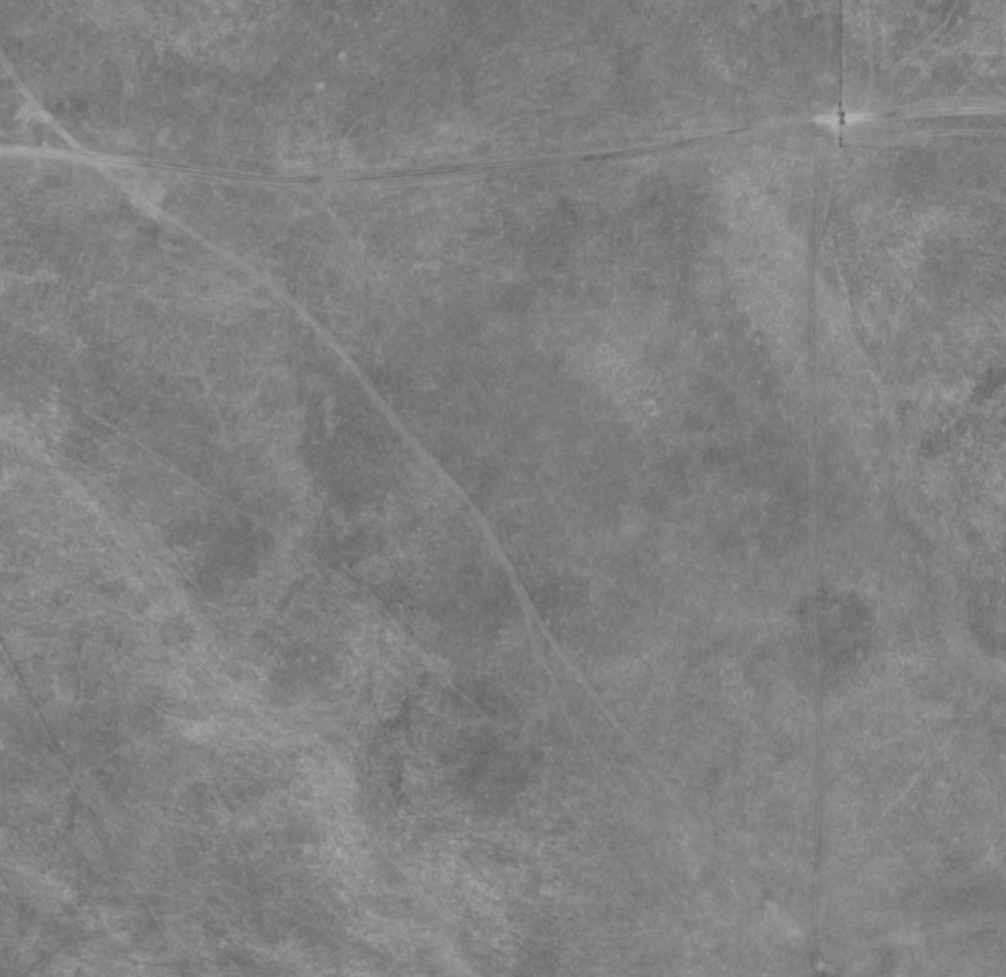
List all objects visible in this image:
road: (504, 143)

